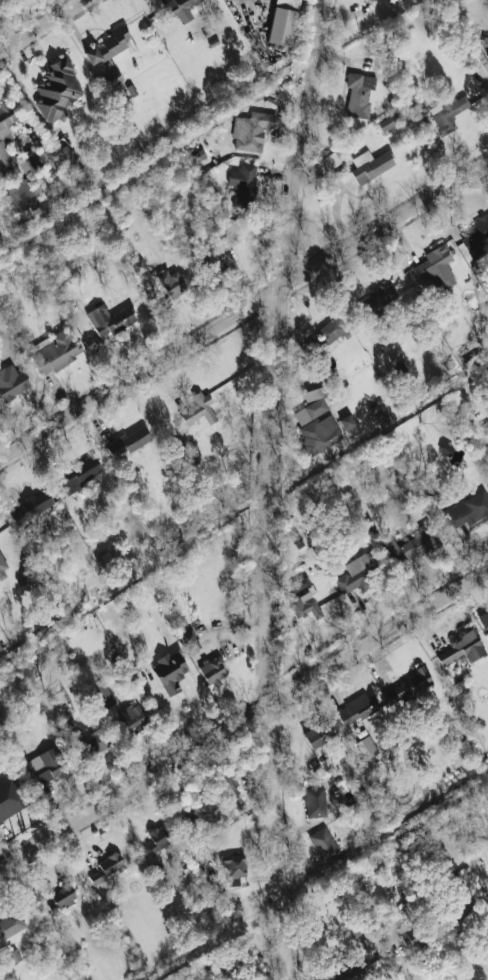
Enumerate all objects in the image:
building: (179, 9)
building: (283, 21)
road: (40, 24)
building: (109, 46)
building: (487, 53)
building: (478, 63)
building: (111, 79)
building: (57, 90)
building: (359, 94)
building: (448, 113)
building: (5, 118)
building: (251, 130)
building: (68, 159)
building: (28, 160)
building: (331, 160)
building: (368, 167)
building: (14, 182)
building: (243, 183)
building: (226, 238)
building: (477, 238)
building: (211, 262)
building: (433, 268)
building: (142, 271)
building: (171, 282)
building: (380, 295)
road: (244, 312)
building: (109, 319)
building: (331, 331)
building: (56, 352)
building: (12, 382)
building: (313, 393)
building: (196, 408)
building: (311, 410)
building: (346, 421)
building: (319, 434)
building: (128, 441)
building: (79, 474)
road: (270, 488)
building: (32, 506)
building: (467, 510)
building: (414, 544)
building: (2, 567)
building: (358, 574)
building: (299, 584)
building: (304, 605)
building: (483, 619)
building: (190, 640)
building: (461, 647)
building: (213, 671)
building: (169, 672)
building: (409, 685)
building: (102, 695)
building: (357, 708)
road: (244, 721)
building: (66, 723)
building: (318, 735)
building: (367, 747)
building: (46, 765)
building: (10, 797)
building: (315, 802)
building: (202, 811)
building: (157, 838)
building: (323, 843)
building: (106, 869)
building: (233, 869)
building: (61, 897)
building: (460, 907)
building: (11, 925)
building: (351, 972)
road: (477, 973)

